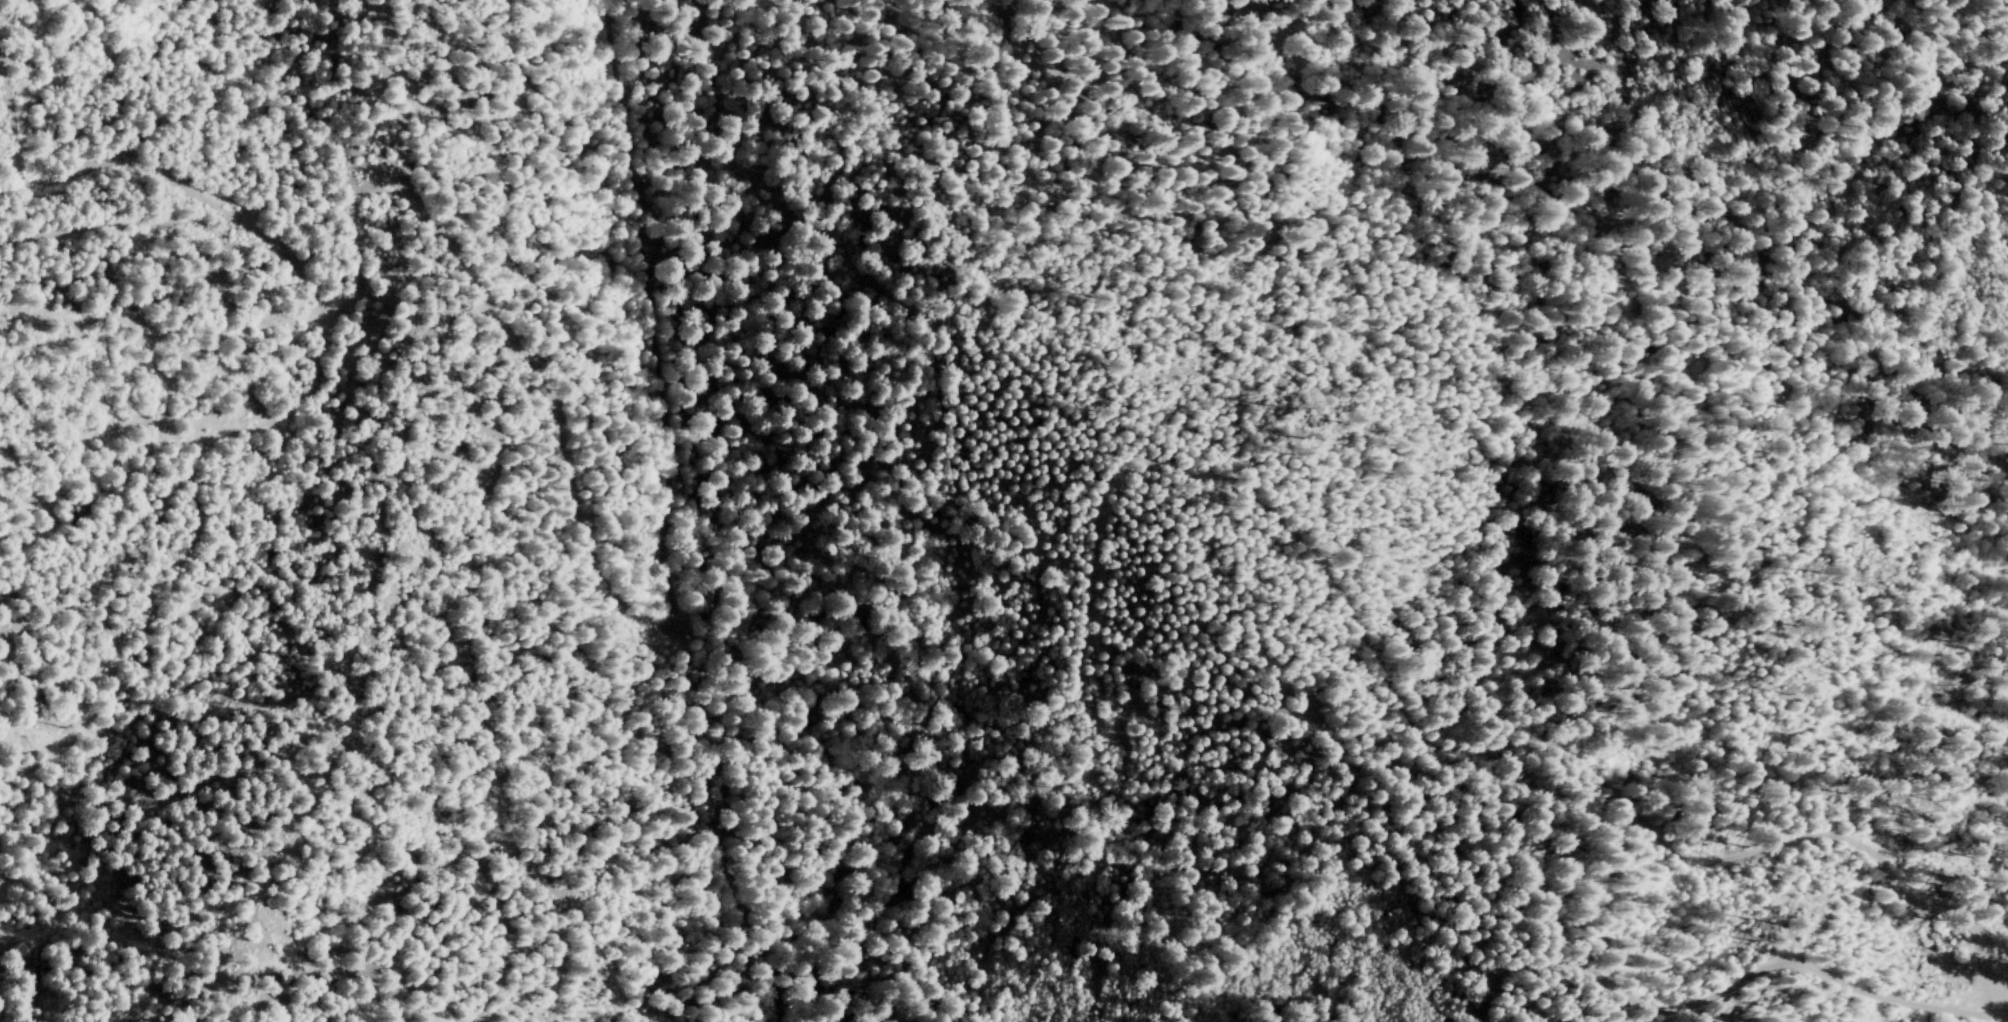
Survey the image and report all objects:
road: (571, 487)
road: (1349, 616)
road: (1723, 1006)

